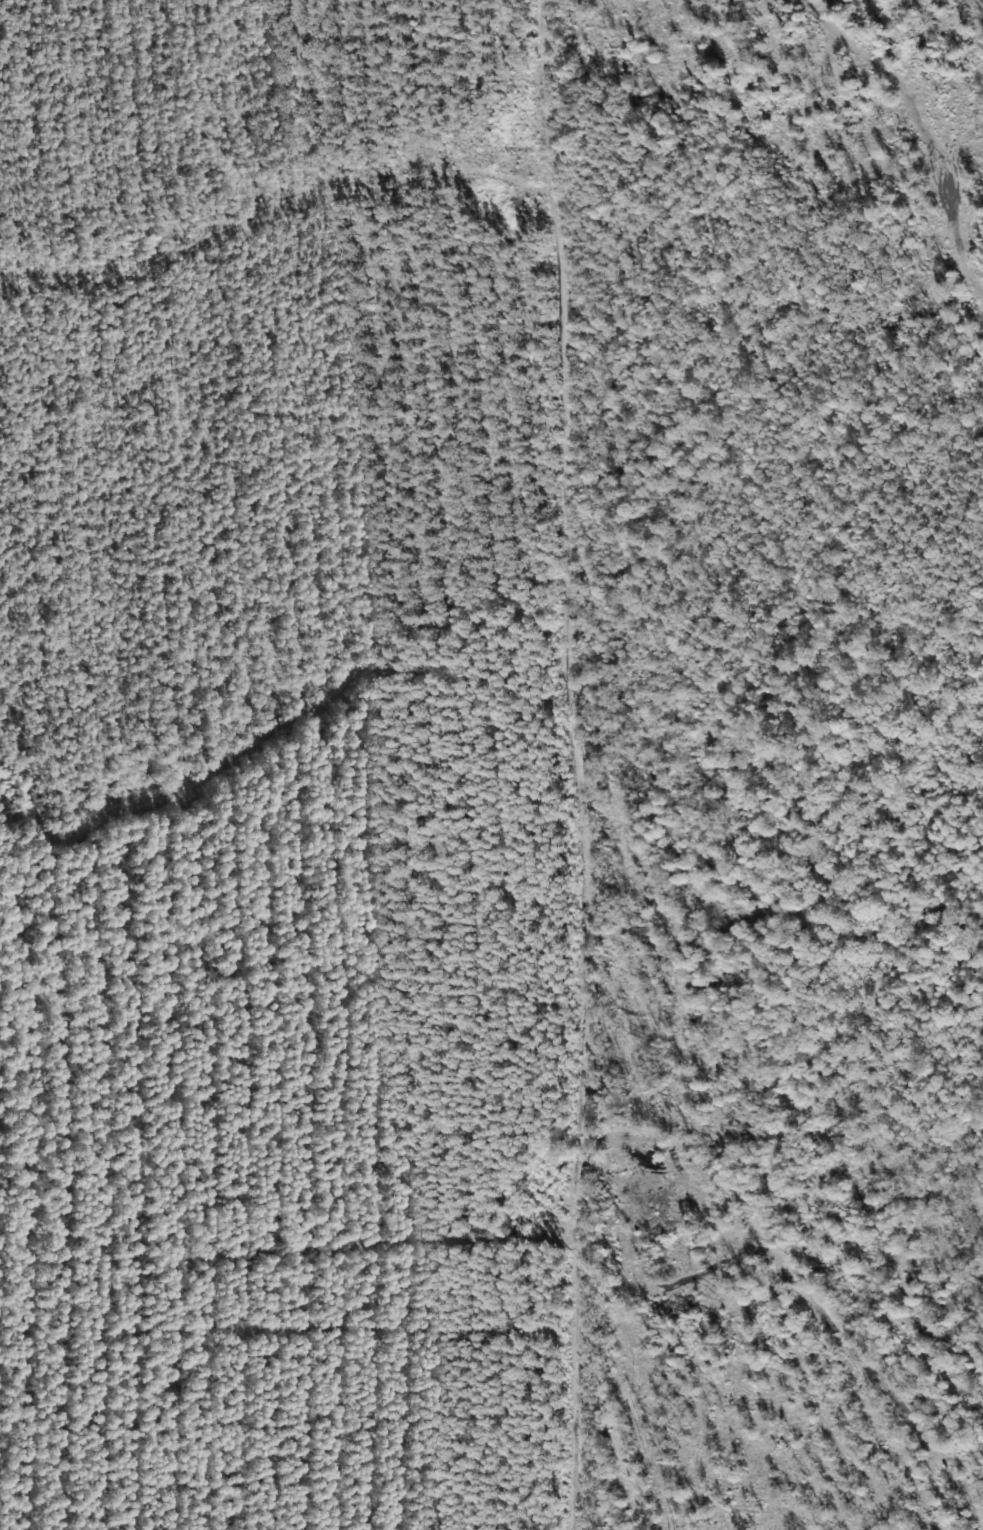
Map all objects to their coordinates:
road: (562, 764)

